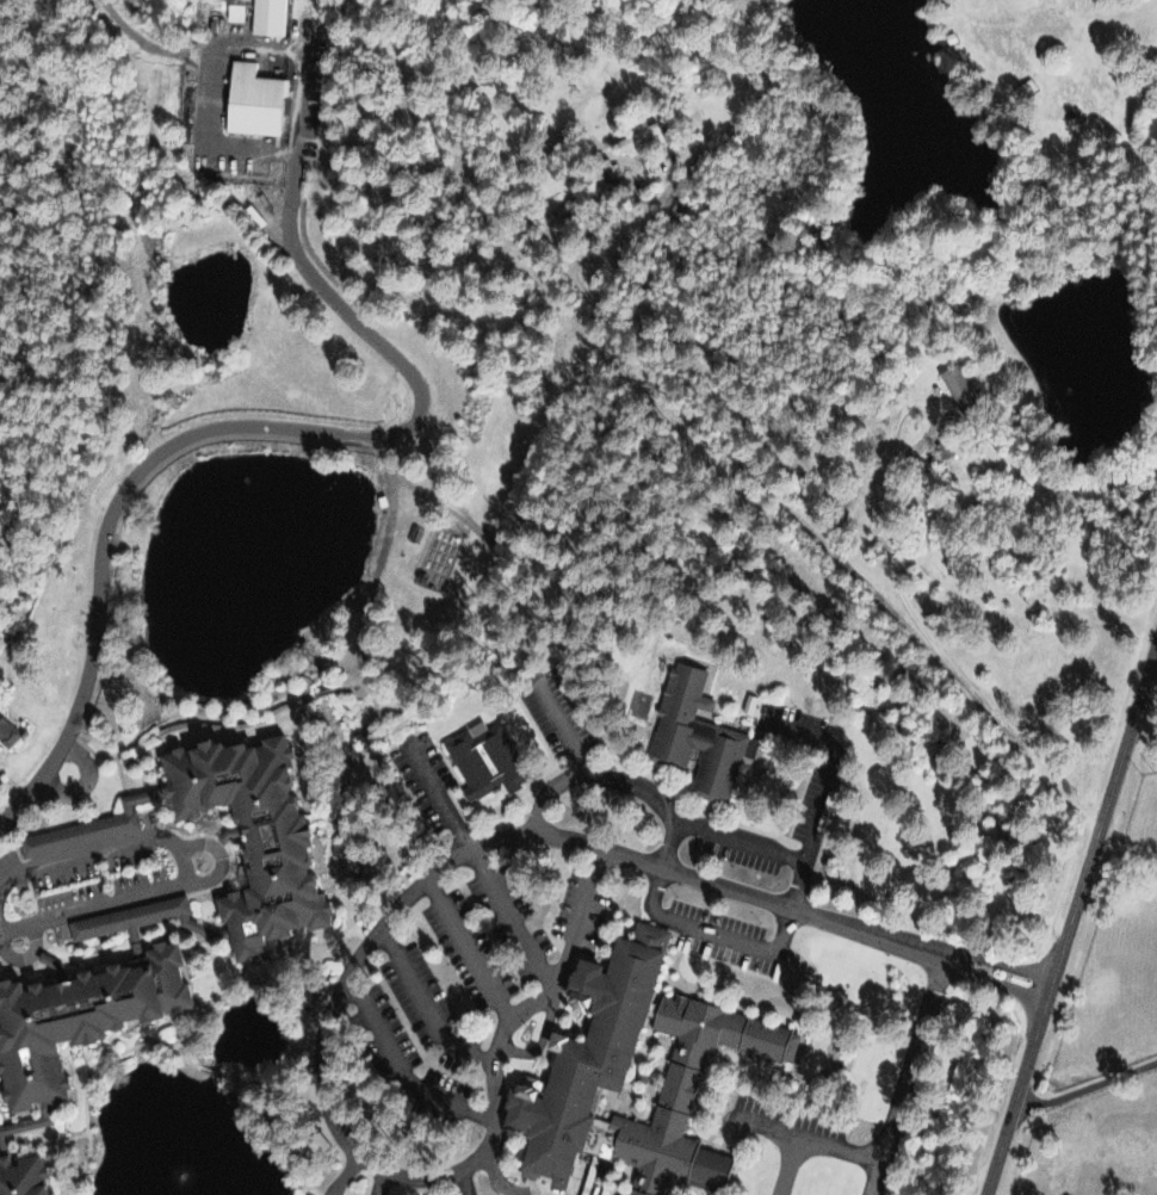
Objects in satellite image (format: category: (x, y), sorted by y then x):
building: (233, 12)
building: (267, 17)
road: (242, 44)
building: (1023, 88)
building: (250, 99)
building: (641, 138)
building: (954, 385)
road: (217, 428)
road: (718, 446)
road: (893, 556)
building: (7, 731)
building: (693, 733)
road: (1027, 748)
building: (482, 759)
road: (440, 798)
building: (86, 826)
building: (247, 834)
road: (184, 862)
building: (125, 916)
road: (509, 917)
road: (1068, 917)
road: (373, 931)
road: (468, 943)
road: (423, 1003)
building: (75, 1016)
building: (582, 1051)
road: (400, 1061)
building: (8, 1127)
building: (18, 1176)

